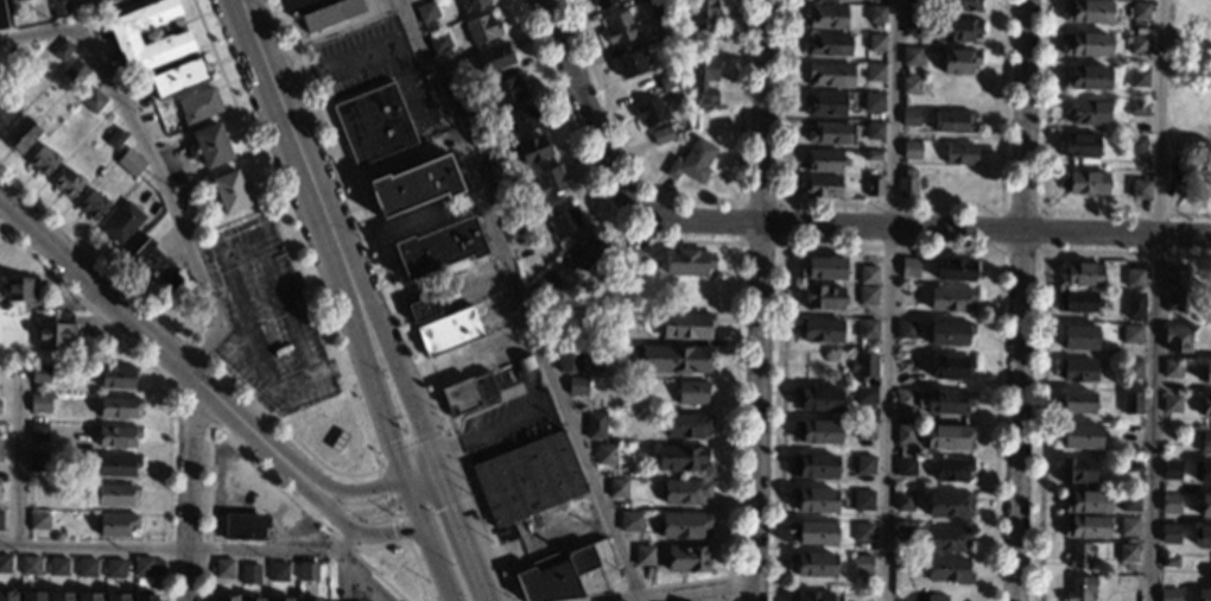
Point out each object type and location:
building: (11, 0)
building: (99, 0)
building: (640, 0)
building: (912, 1)
building: (602, 2)
building: (473, 5)
building: (957, 6)
building: (674, 7)
building: (58, 8)
building: (85, 10)
building: (655, 10)
building: (322, 11)
building: (1086, 11)
building: (1140, 11)
building: (426, 12)
building: (876, 13)
building: (703, 14)
building: (2, 17)
building: (828, 17)
building: (911, 25)
building: (481, 29)
building: (619, 29)
building: (952, 30)
building: (170, 40)
building: (439, 43)
building: (876, 43)
building: (1086, 44)
building: (1139, 44)
building: (830, 45)
building: (61, 50)
building: (911, 56)
building: (494, 57)
building: (958, 61)
building: (632, 63)
building: (1149, 63)
building: (75, 71)
building: (875, 71)
building: (450, 74)
building: (830, 75)
building: (178, 77)
building: (1085, 77)
building: (88, 78)
building: (703, 78)
building: (1139, 78)
building: (667, 81)
building: (909, 84)
building: (507, 90)
building: (91, 100)
building: (874, 101)
building: (825, 103)
building: (465, 105)
building: (198, 106)
building: (1139, 108)
building: (421, 109)
building: (649, 112)
building: (1085, 112)
building: (4, 115)
building: (909, 116)
building: (524, 120)
building: (953, 122)
building: (374, 124)
building: (874, 131)
building: (829, 133)
building: (21, 134)
building: (476, 134)
building: (661, 135)
building: (115, 139)
building: (1134, 144)
building: (210, 145)
building: (1080, 146)
building: (911, 150)
building: (531, 151)
building: (959, 153)
building: (873, 156)
building: (42, 160)
road: (151, 160)
building: (822, 160)
building: (692, 162)
building: (132, 163)
road: (302, 164)
building: (489, 170)
building: (1177, 172)
building: (68, 182)
building: (549, 182)
building: (1085, 182)
building: (907, 184)
building: (413, 185)
building: (822, 185)
building: (874, 188)
building: (1140, 189)
building: (228, 190)
building: (501, 201)
building: (91, 204)
building: (563, 217)
building: (121, 223)
road: (806, 223)
building: (514, 227)
building: (437, 247)
building: (587, 251)
building: (629, 257)
building: (687, 262)
building: (154, 264)
building: (909, 267)
building: (823, 268)
building: (956, 268)
building: (867, 274)
building: (1083, 274)
building: (1175, 277)
building: (1134, 278)
building: (544, 284)
building: (19, 289)
building: (868, 296)
building: (824, 297)
road: (522, 299)
road: (886, 299)
building: (950, 299)
road: (759, 300)
road: (1020, 300)
road: (1154, 300)
building: (1077, 302)
building: (1173, 302)
building: (1134, 305)
building: (423, 309)
building: (685, 325)
building: (611, 327)
building: (867, 328)
building: (906, 329)
building: (819, 330)
building: (56, 331)
building: (449, 331)
building: (949, 333)
building: (1130, 334)
building: (1079, 337)
building: (1177, 339)
road: (160, 343)
building: (569, 358)
building: (674, 359)
building: (950, 367)
building: (1172, 368)
building: (864, 369)
building: (1077, 369)
building: (1133, 369)
building: (1206, 373)
building: (39, 374)
building: (116, 377)
building: (462, 378)
building: (577, 386)
building: (691, 392)
building: (864, 396)
road: (408, 398)
building: (818, 398)
building: (905, 399)
building: (944, 401)
building: (39, 403)
building: (1076, 403)
building: (1130, 403)
building: (1171, 403)
building: (119, 406)
building: (1205, 406)
road: (383, 409)
building: (596, 425)
building: (686, 425)
road: (488, 426)
building: (864, 430)
building: (37, 431)
building: (817, 431)
building: (905, 434)
building: (1077, 436)
building: (116, 437)
building: (949, 437)
building: (1171, 437)
traffic signals: (394, 439)
building: (1204, 441)
building: (0, 444)
road: (18, 454)
building: (605, 455)
building: (680, 458)
building: (37, 462)
building: (864, 464)
building: (116, 466)
building: (814, 466)
building: (905, 467)
building: (951, 469)
building: (1171, 469)
building: (1076, 470)
building: (1202, 472)
building: (527, 479)
road: (425, 480)
road: (188, 486)
building: (0, 487)
building: (617, 488)
building: (684, 491)
building: (115, 494)
building: (814, 500)
building: (862, 500)
building: (904, 500)
road: (364, 501)
building: (1085, 501)
building: (1129, 501)
building: (1169, 502)
traffic signals: (454, 504)
building: (949, 505)
building: (1205, 506)
road: (418, 510)
road: (334, 513)
building: (0, 519)
building: (39, 519)
building: (630, 521)
building: (116, 524)
building: (683, 525)
building: (242, 526)
building: (1128, 526)
building: (1084, 527)
road: (389, 530)
traffic signals: (393, 530)
building: (813, 532)
building: (863, 532)
building: (904, 532)
building: (1168, 533)
building: (1202, 536)
road: (467, 537)
building: (944, 538)
road: (180, 548)
building: (1127, 552)
building: (643, 555)
building: (1079, 556)
building: (686, 558)
building: (1169, 561)
building: (813, 563)
building: (901, 563)
building: (5, 564)
building: (862, 564)
building: (30, 567)
building: (57, 567)
building: (146, 567)
road: (439, 567)
building: (85, 568)
building: (223, 568)
building: (114, 569)
building: (947, 570)
building: (277, 571)
building: (306, 571)
building: (251, 574)
road: (362, 574)
building: (564, 575)
building: (1210, 576)
building: (1079, 589)
road: (693, 591)
building: (7, 595)
building: (1168, 595)
building: (1203, 595)
building: (31, 596)
building: (59, 596)
building: (88, 596)
building: (116, 596)
building: (812, 596)
building: (145, 597)
building: (226, 597)
building: (936, 597)
building: (251, 599)
building: (283, 599)
building: (309, 600)

